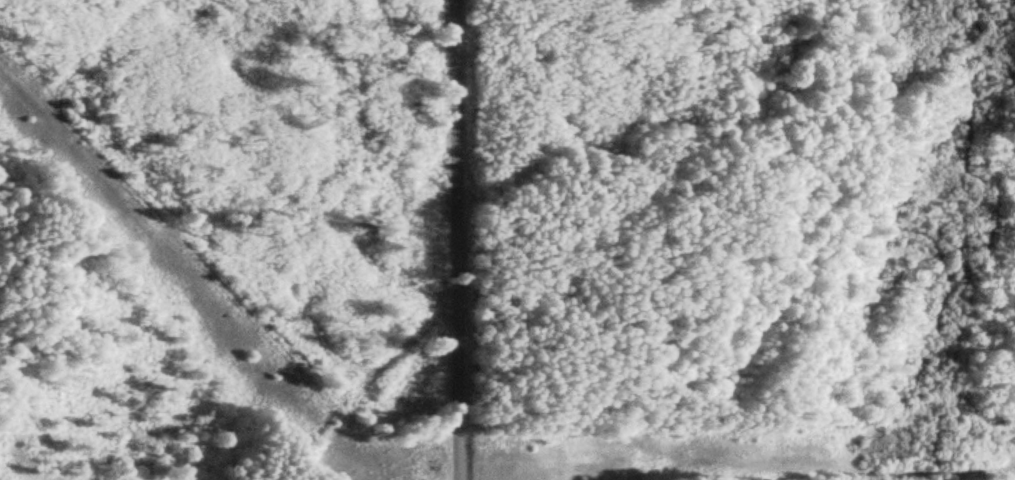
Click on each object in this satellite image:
road: (460, 239)

